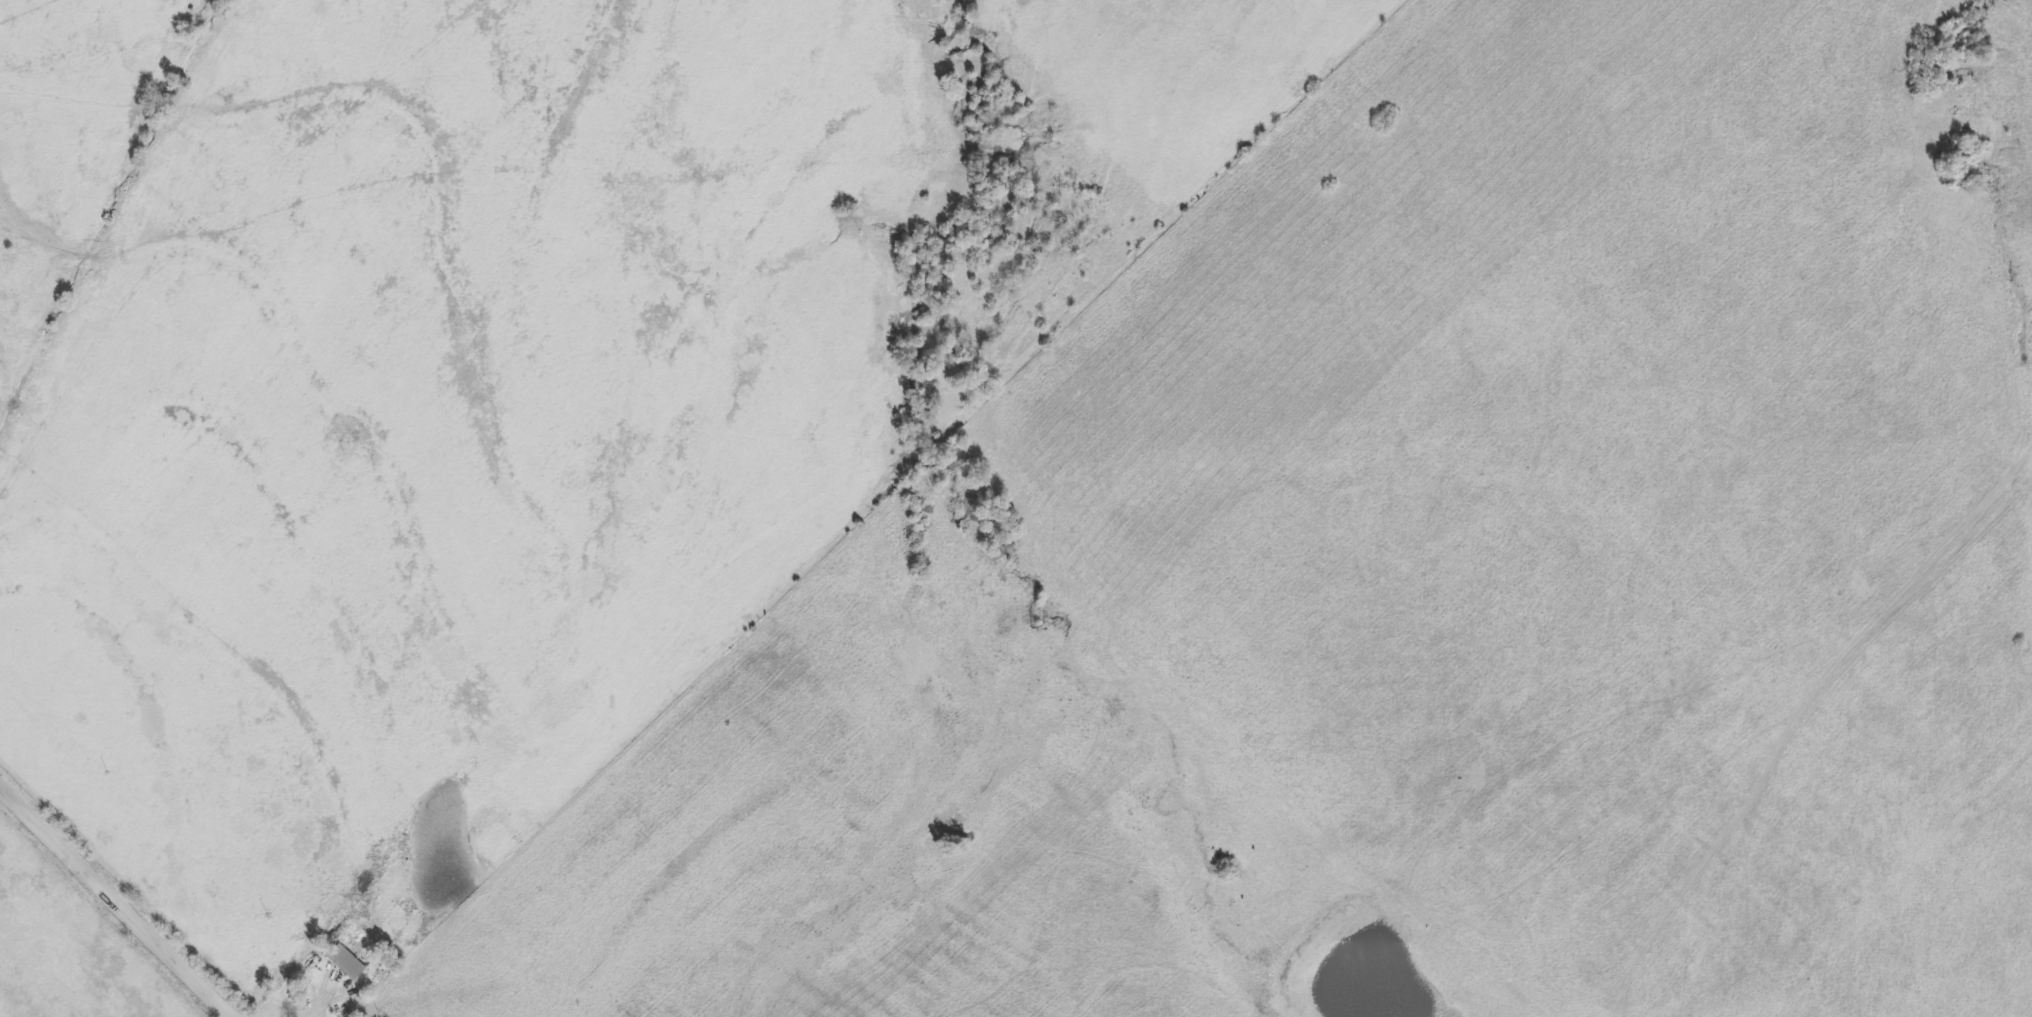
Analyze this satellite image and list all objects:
road: (114, 904)
building: (345, 961)

